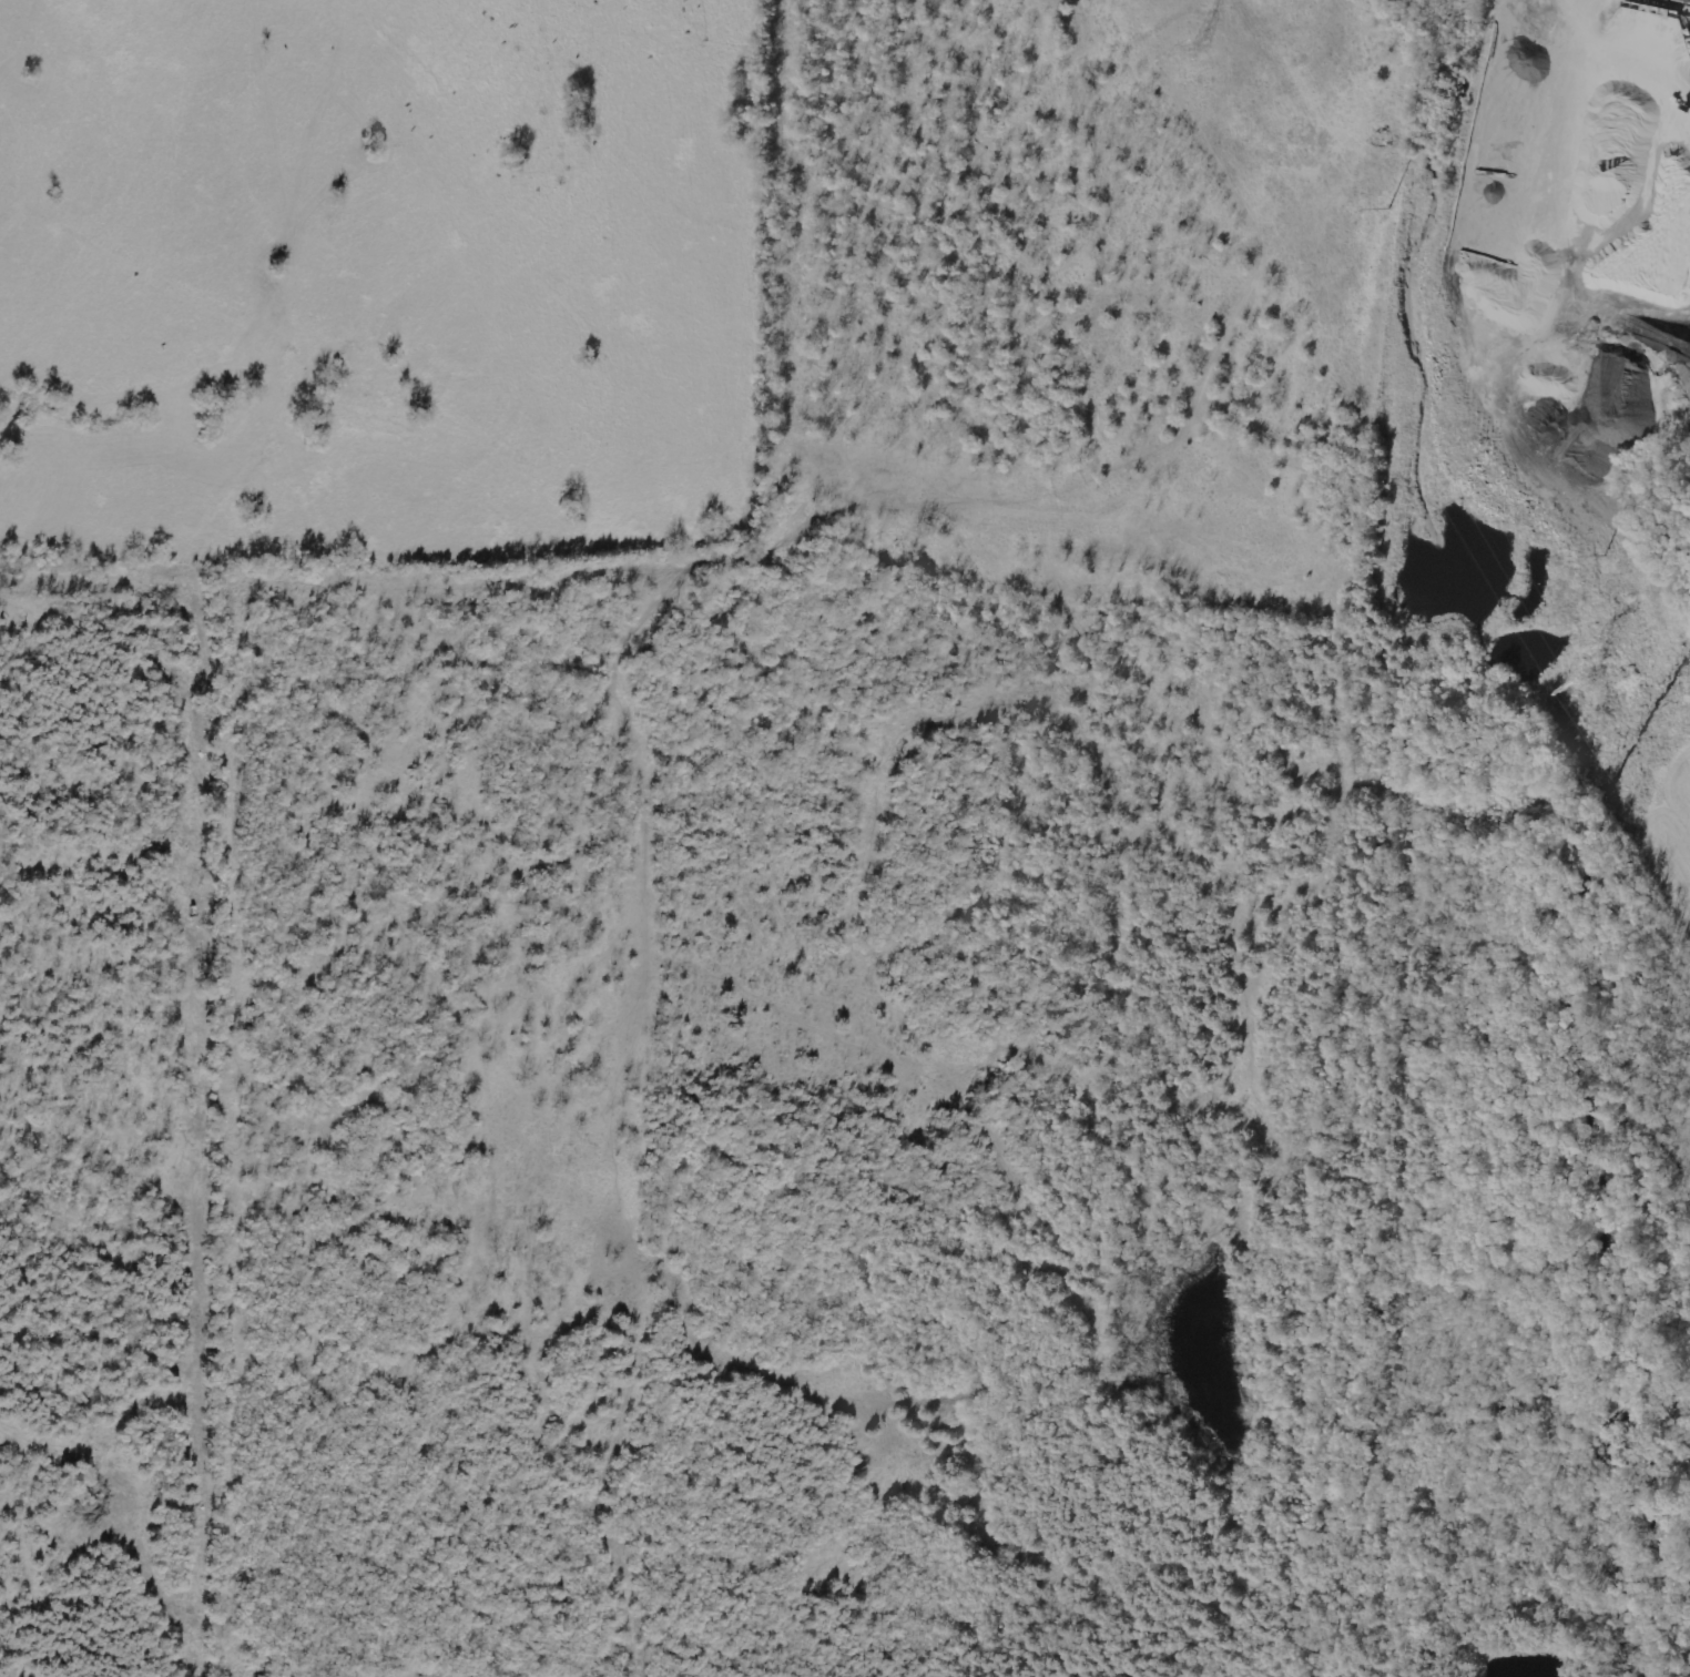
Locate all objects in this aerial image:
power tower: (1200, 52)
power tower: (1293, 64)
power tower: (1444, 309)
power tower: (1597, 687)
railway: (1392, 835)

